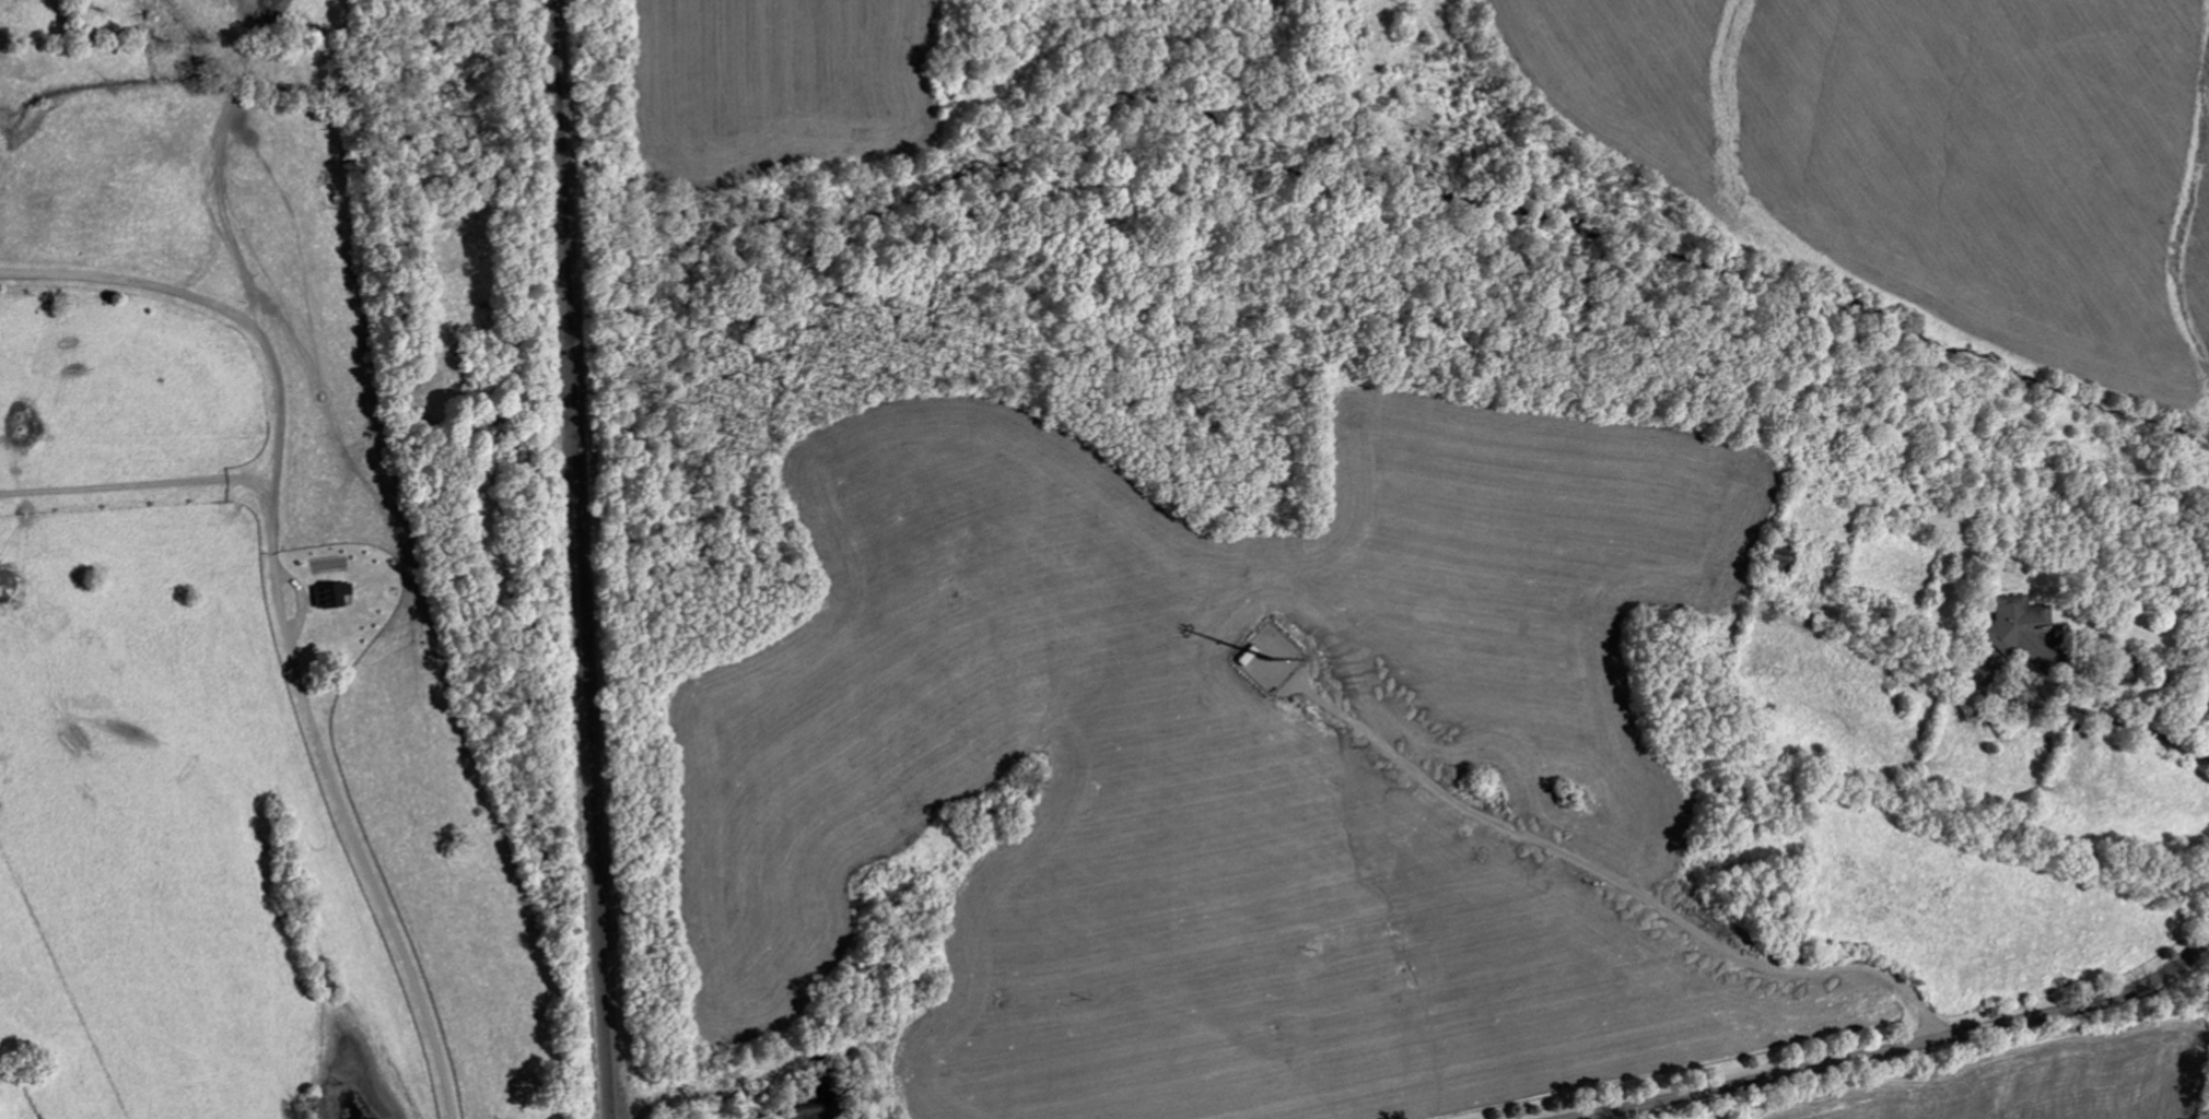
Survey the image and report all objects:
road: (175, 72)
railway: (585, 558)
road: (291, 559)
building: (328, 596)
building: (2020, 629)
road: (2091, 711)
road: (1626, 890)
road: (1900, 1050)

